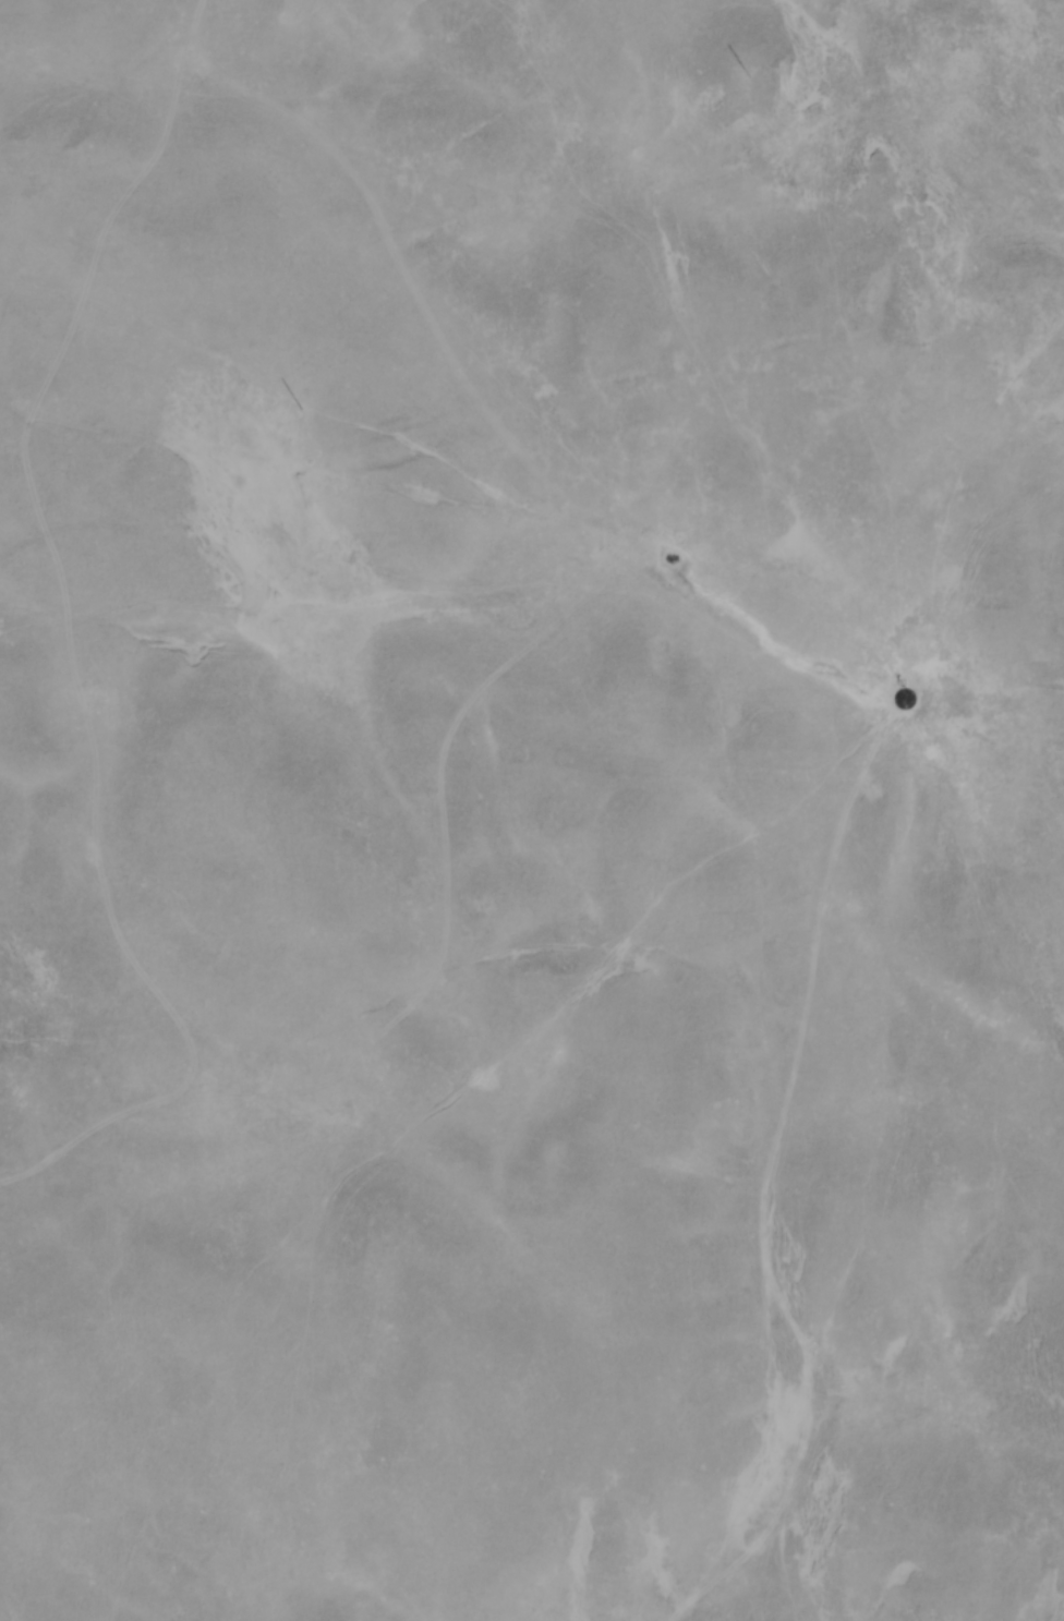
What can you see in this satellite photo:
power tower: (751, 73)
power tower: (300, 403)

